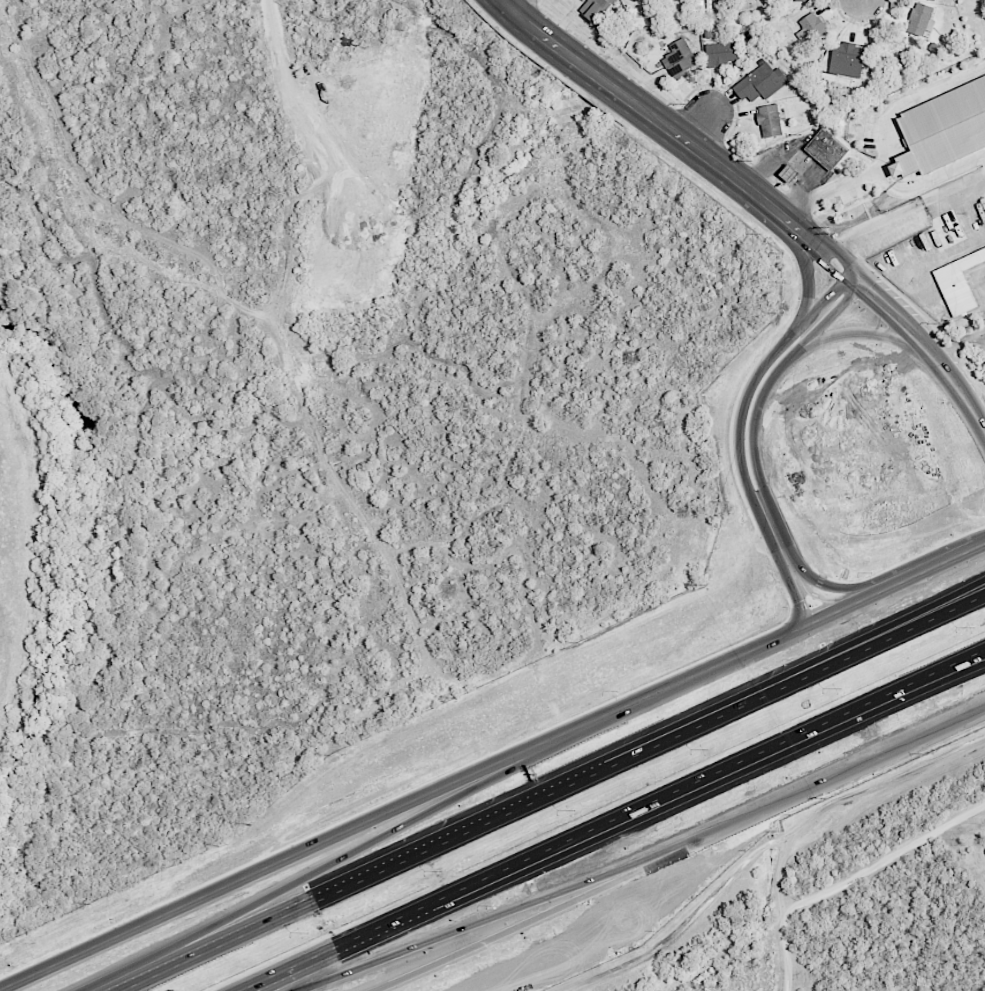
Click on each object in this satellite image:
building: (804, 0)
road: (860, 1)
road: (517, 5)
building: (596, 9)
building: (920, 20)
building: (815, 29)
building: (721, 53)
building: (680, 59)
building: (847, 59)
building: (761, 83)
road: (648, 112)
building: (769, 121)
road: (702, 125)
building: (944, 128)
road: (886, 141)
building: (827, 149)
road: (984, 155)
road: (785, 157)
building: (789, 173)
road: (927, 180)
road: (906, 218)
road: (806, 274)
road: (857, 281)
road: (861, 332)
road: (959, 344)
road: (954, 385)
road: (738, 435)
road: (752, 448)
road: (981, 547)
road: (922, 574)
road: (836, 612)
road: (984, 650)
road: (984, 650)
road: (792, 675)
road: (792, 682)
road: (806, 791)
road: (404, 809)
road: (814, 818)
road: (620, 821)
road: (881, 864)
road: (358, 881)
road: (292, 884)
road: (457, 929)
road: (498, 932)

